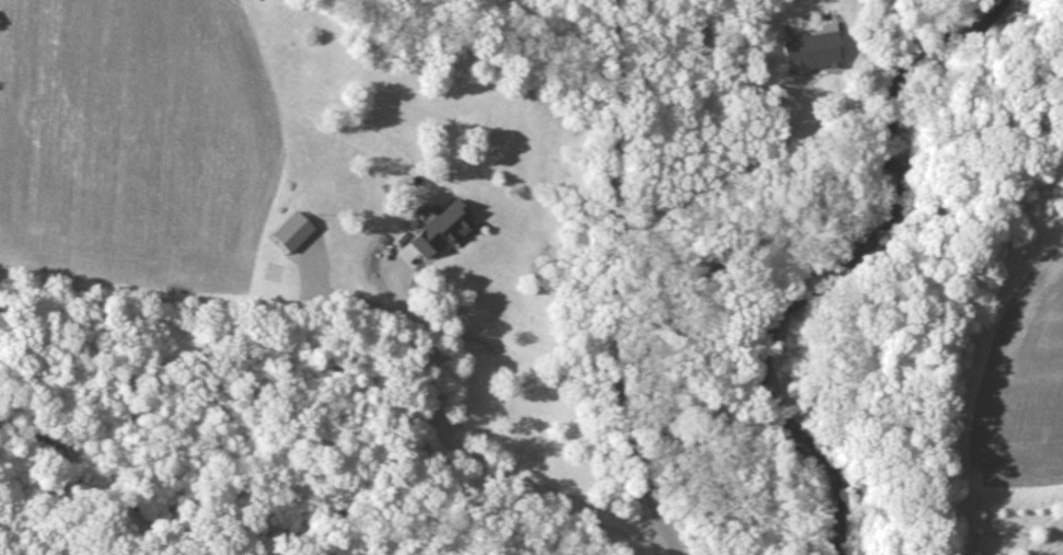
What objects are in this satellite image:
road: (821, 10)
building: (811, 50)
building: (443, 229)
building: (294, 230)
road: (590, 286)
road: (340, 299)
road: (467, 456)

